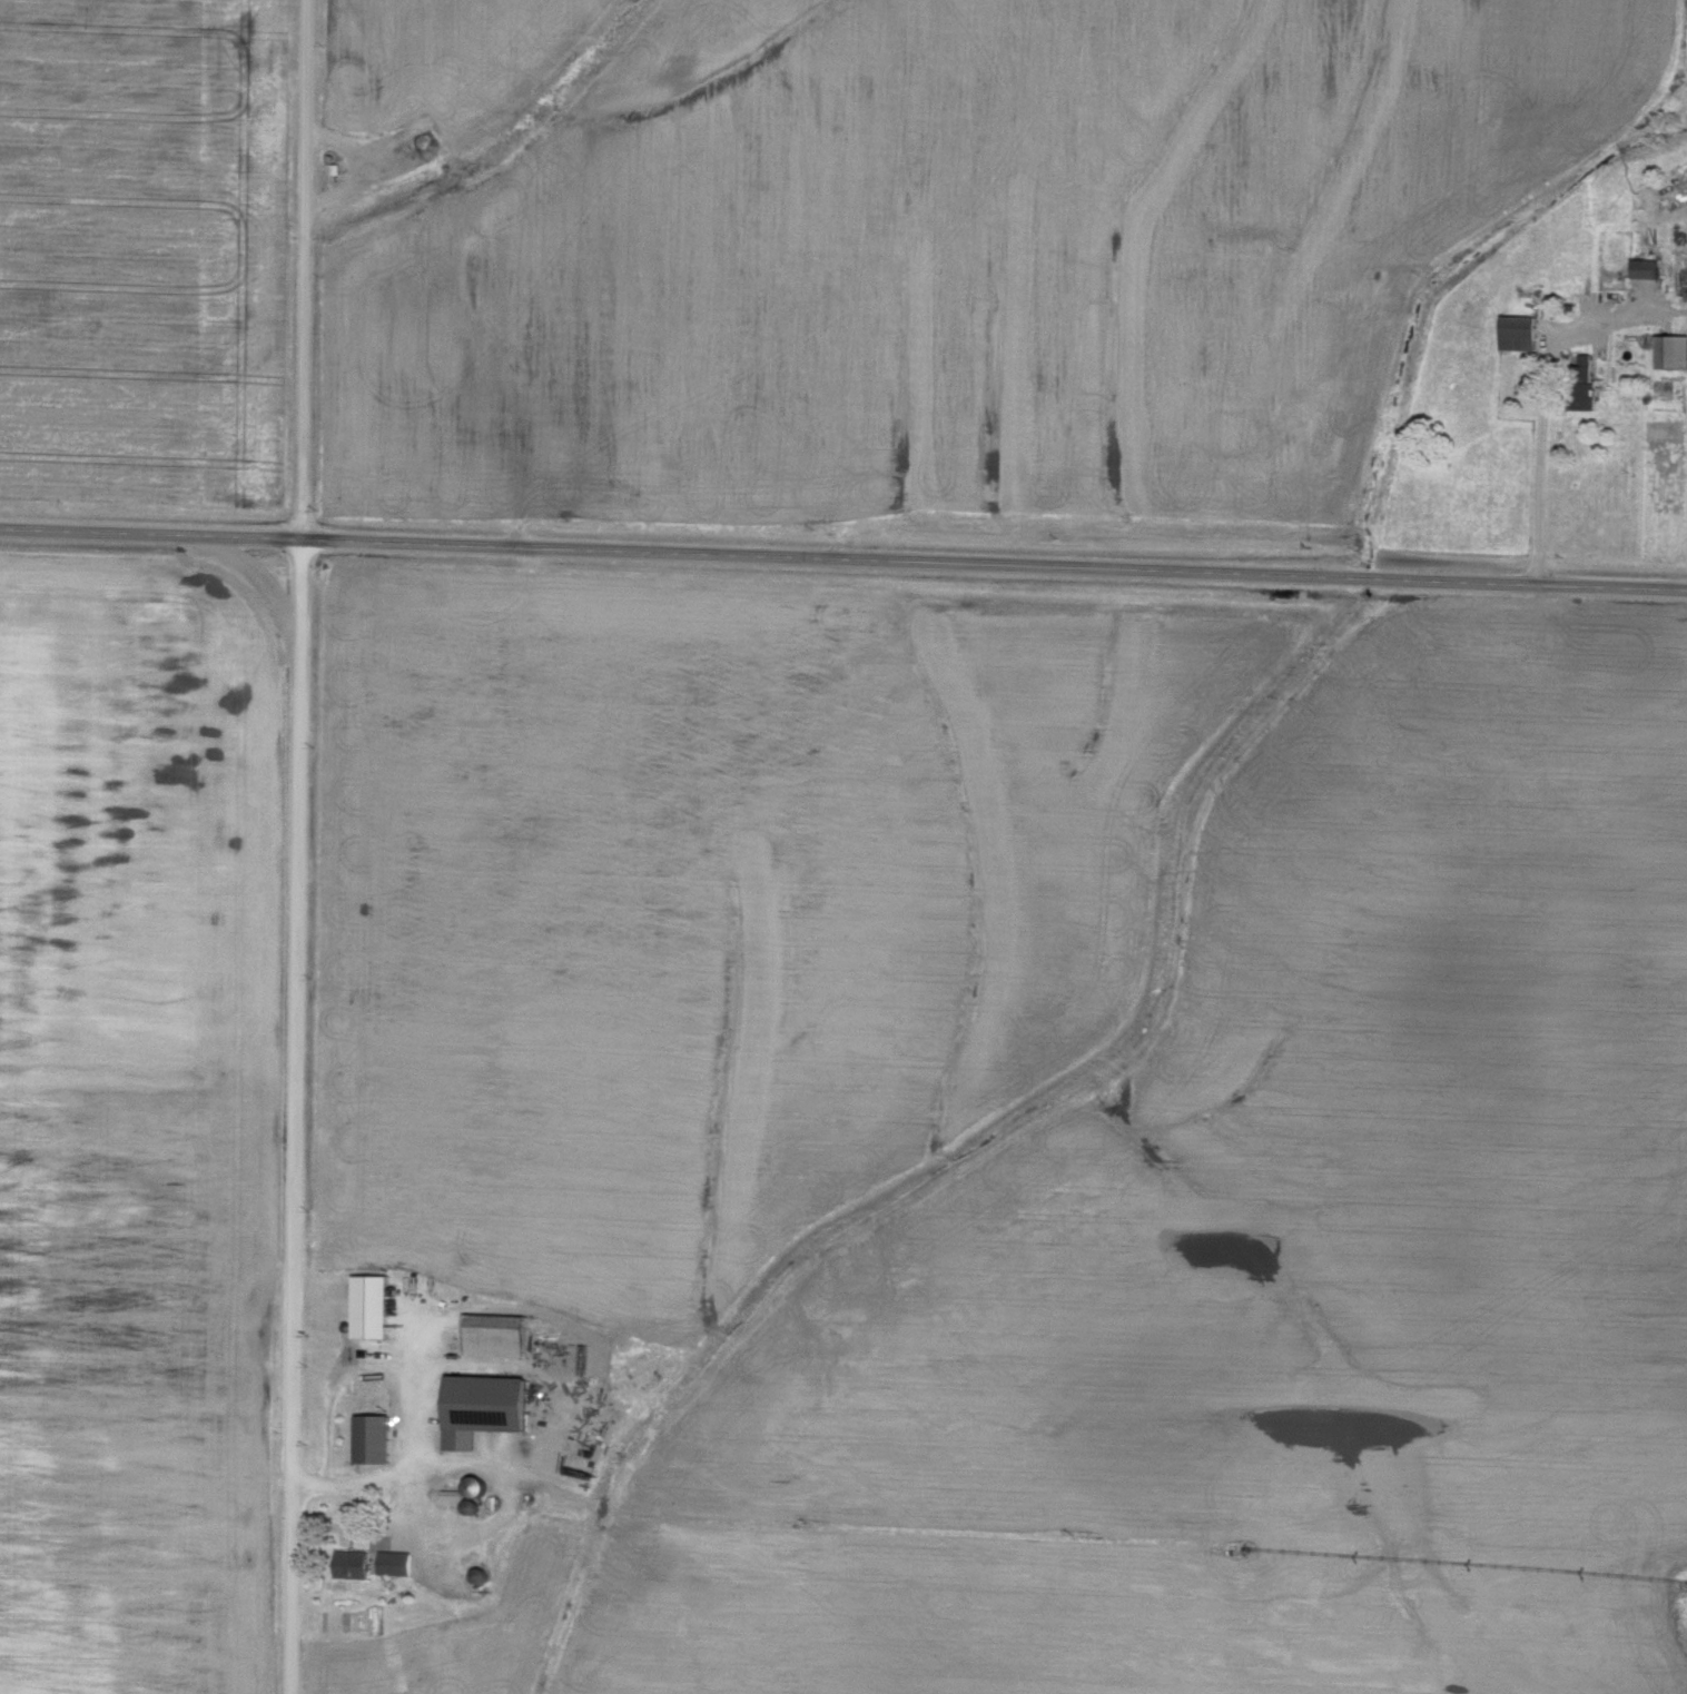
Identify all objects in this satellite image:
building: (1647, 266)
building: (1520, 329)
building: (1671, 347)
building: (1587, 385)
road: (1547, 395)
road: (843, 557)
road: (300, 846)
building: (373, 1304)
building: (499, 1333)
building: (487, 1405)
road: (403, 1406)
building: (377, 1437)
building: (398, 1561)
building: (356, 1562)

